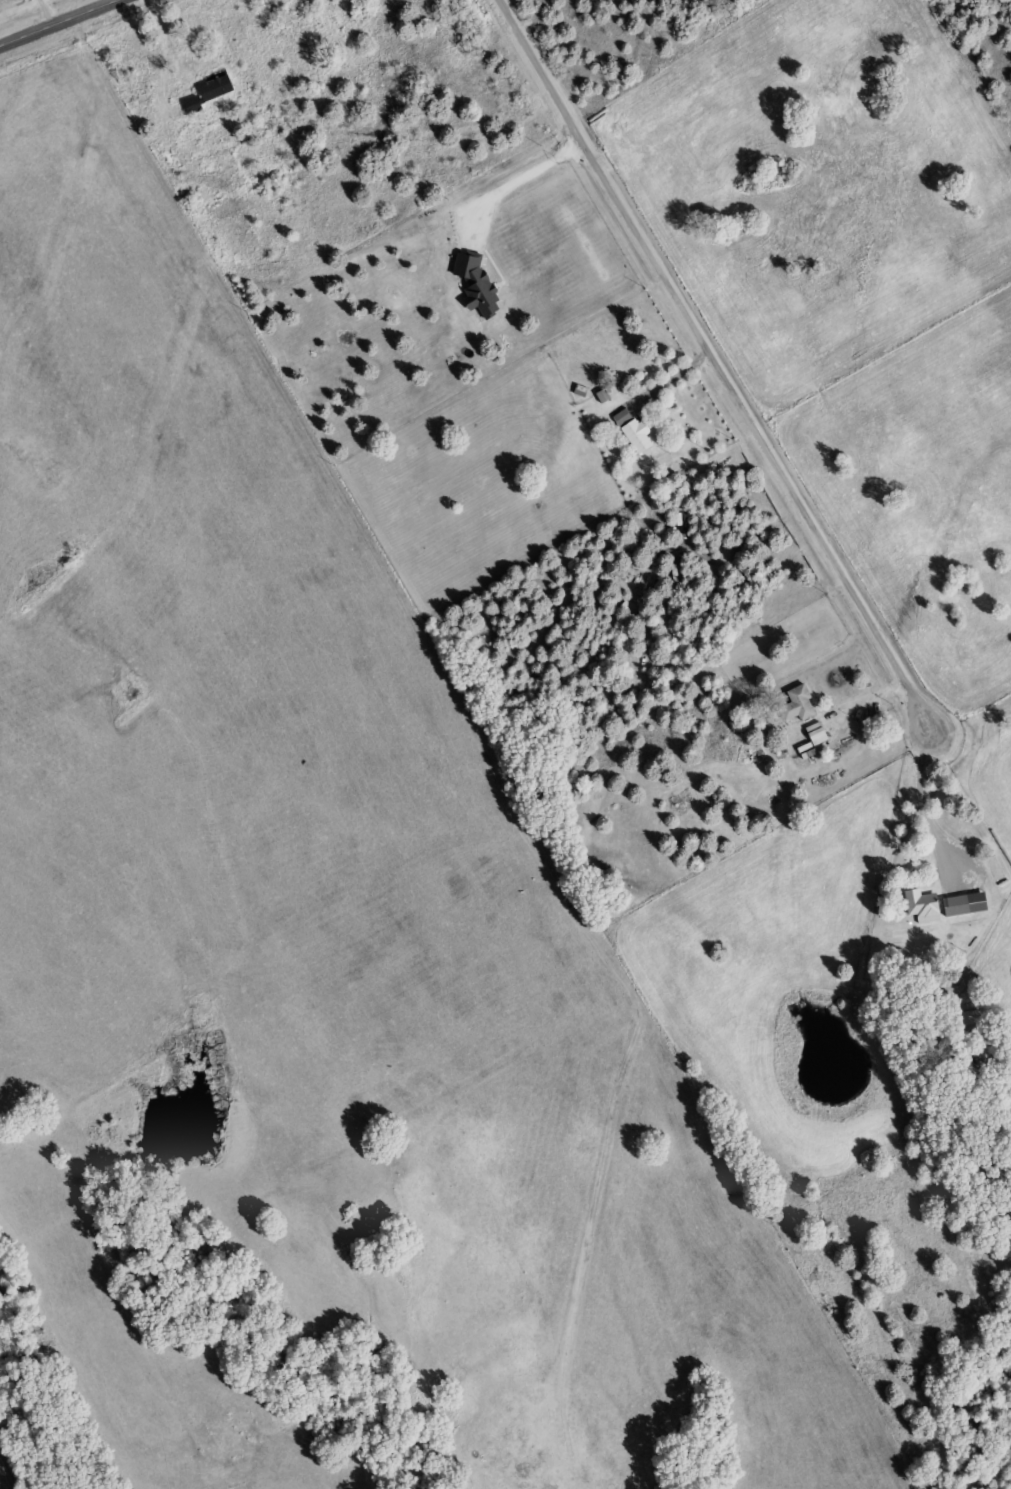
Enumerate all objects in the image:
road: (69, 26)
road: (160, 57)
building: (207, 90)
building: (476, 285)
building: (631, 430)
road: (752, 434)
building: (796, 704)
building: (814, 733)
building: (916, 902)
building: (954, 905)
building: (968, 1018)

